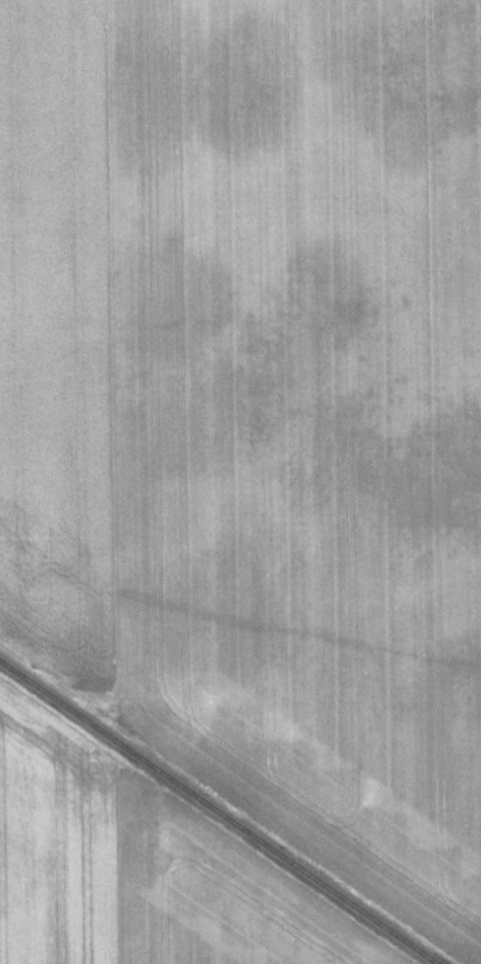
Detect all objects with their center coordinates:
railway: (220, 811)

